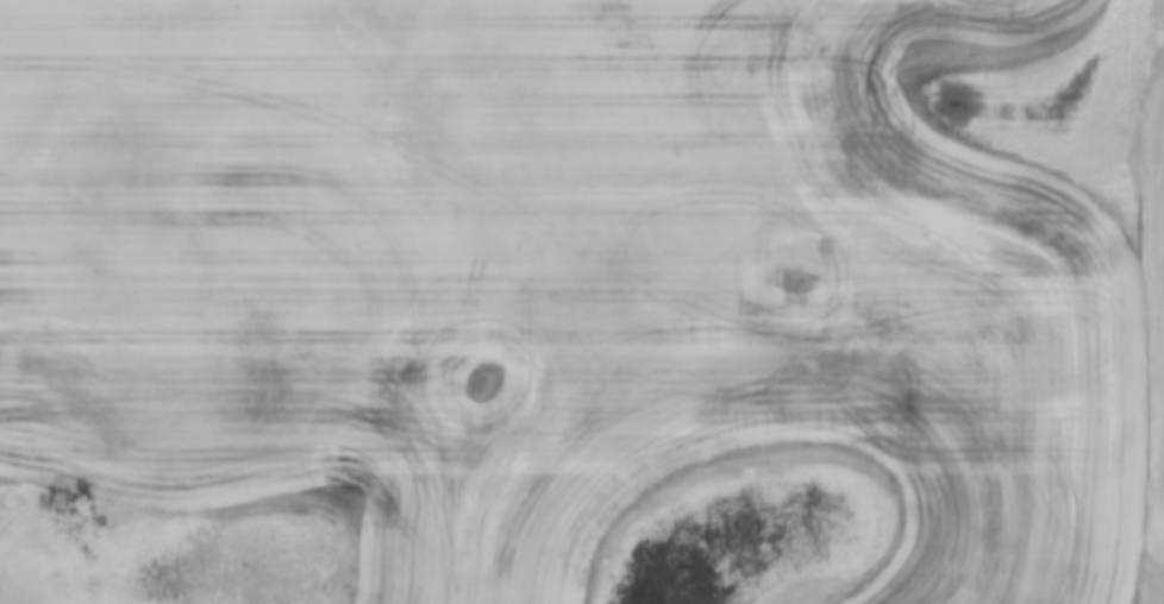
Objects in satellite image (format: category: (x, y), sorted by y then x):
road: (1157, 335)

